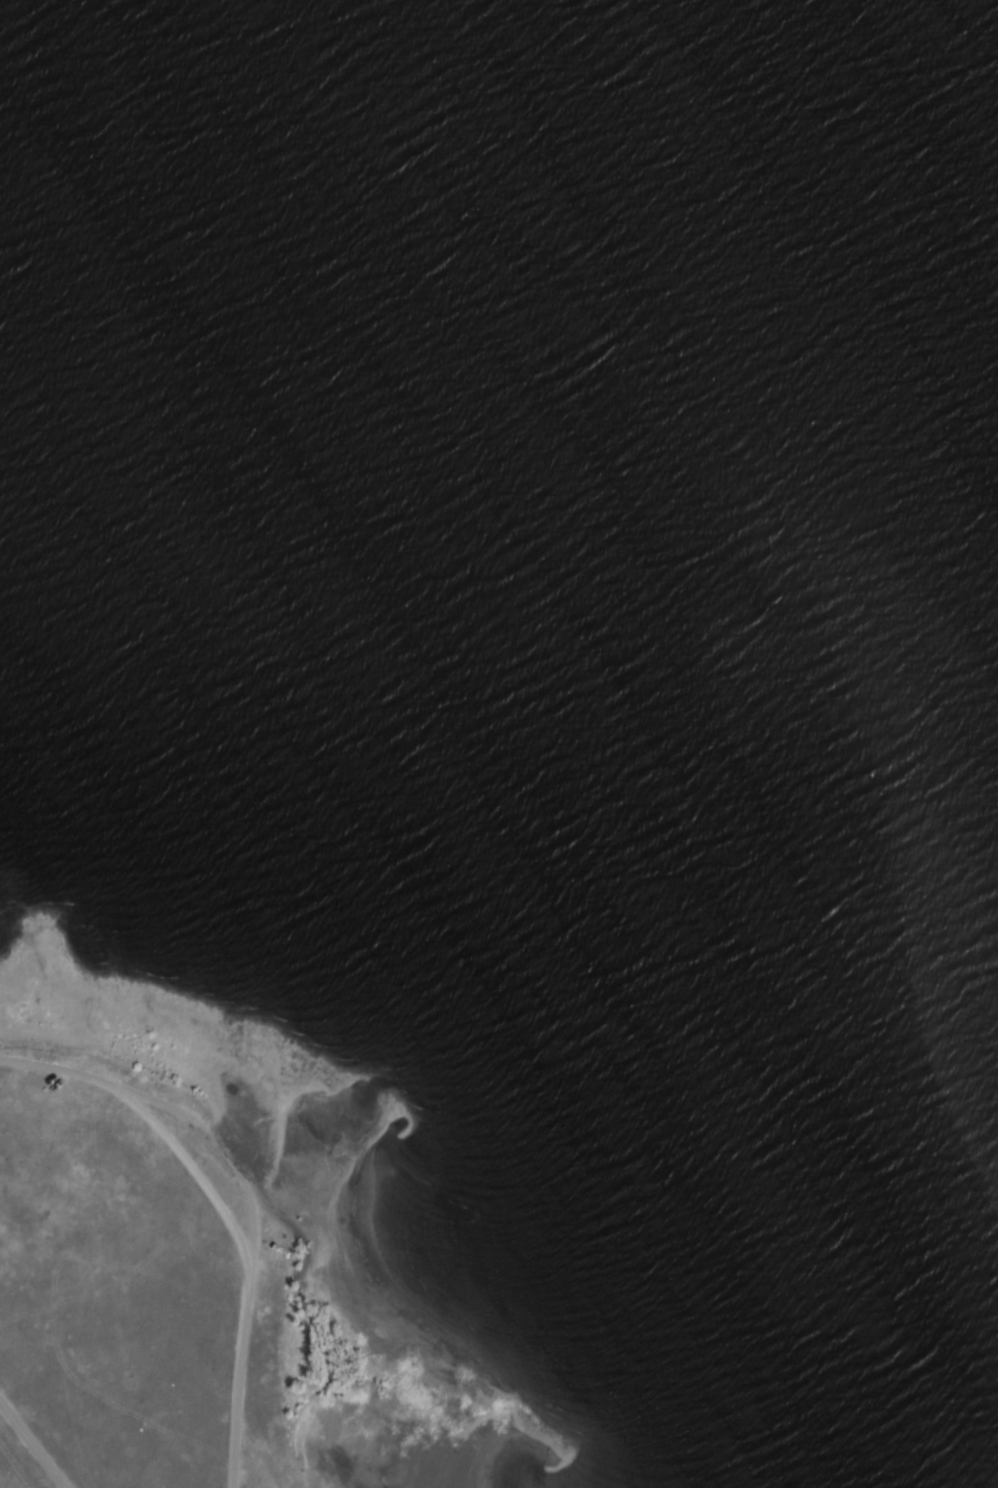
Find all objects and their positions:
road: (251, 1186)
road: (29, 1446)

